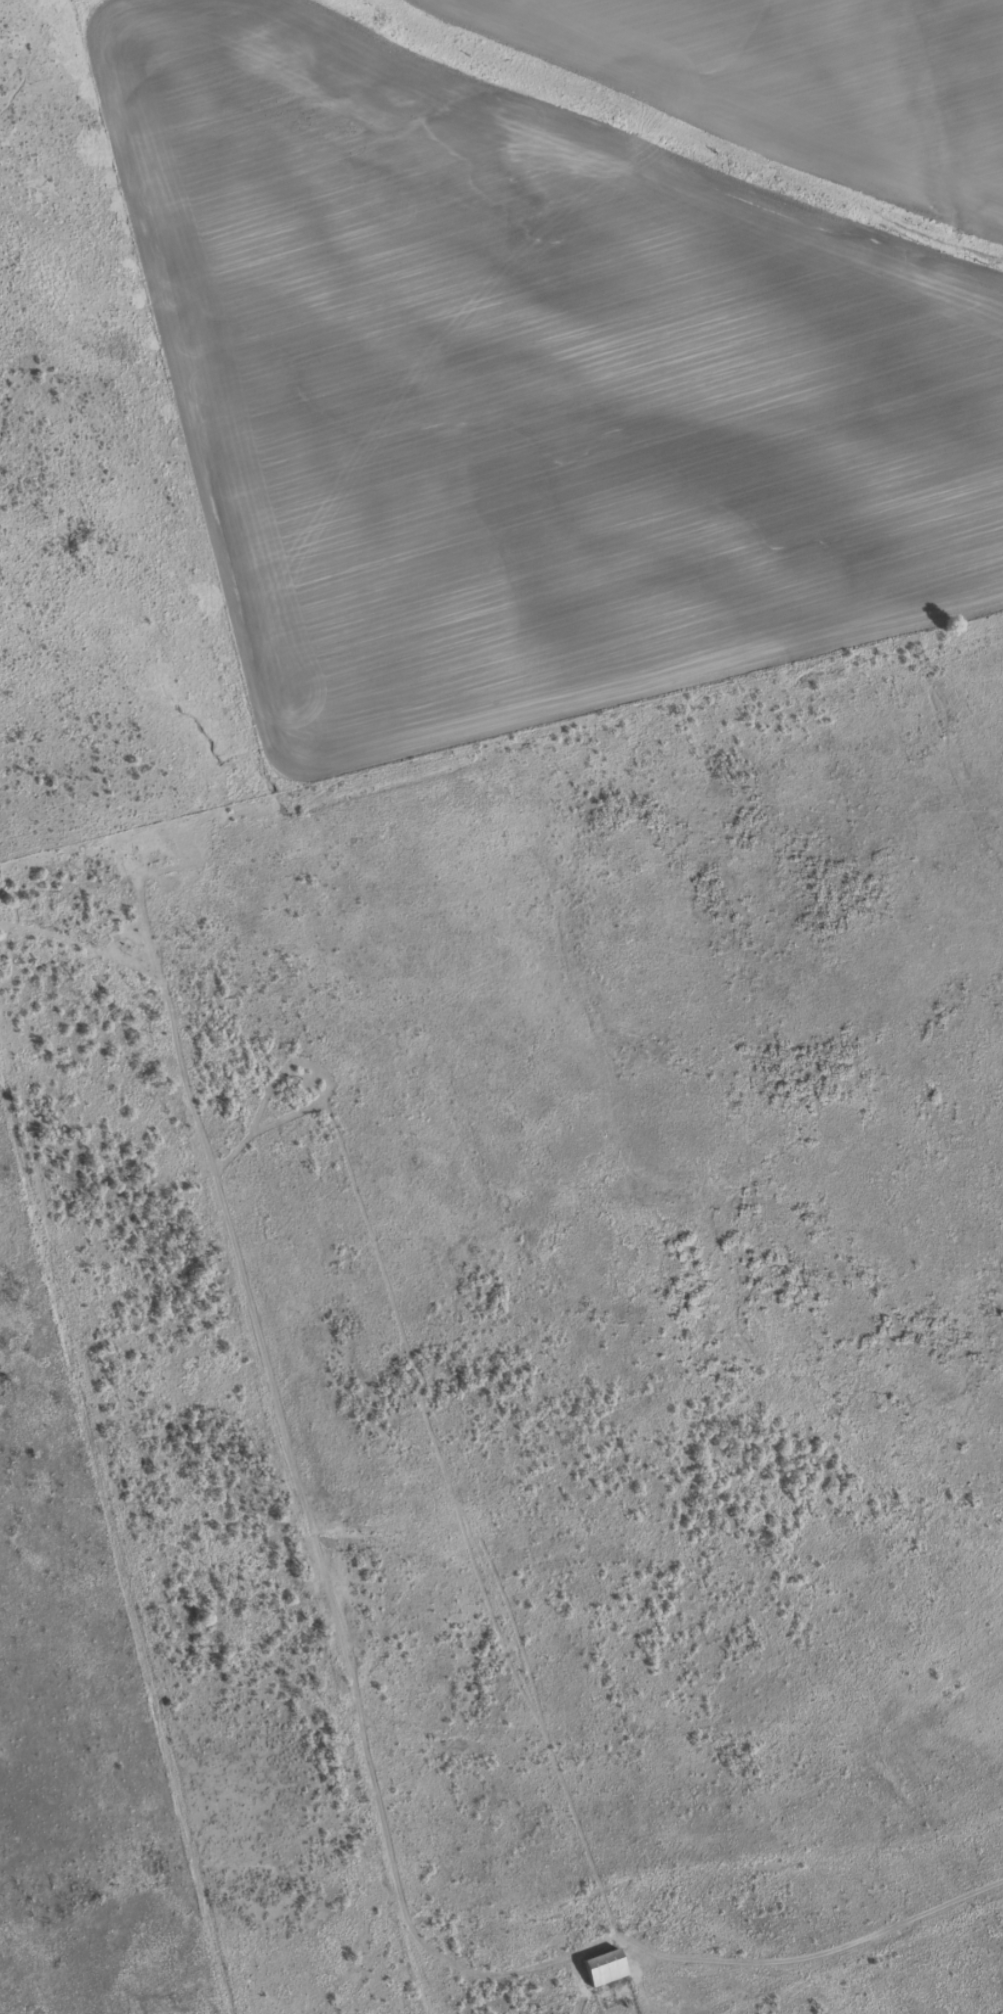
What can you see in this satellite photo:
building: (607, 1968)

